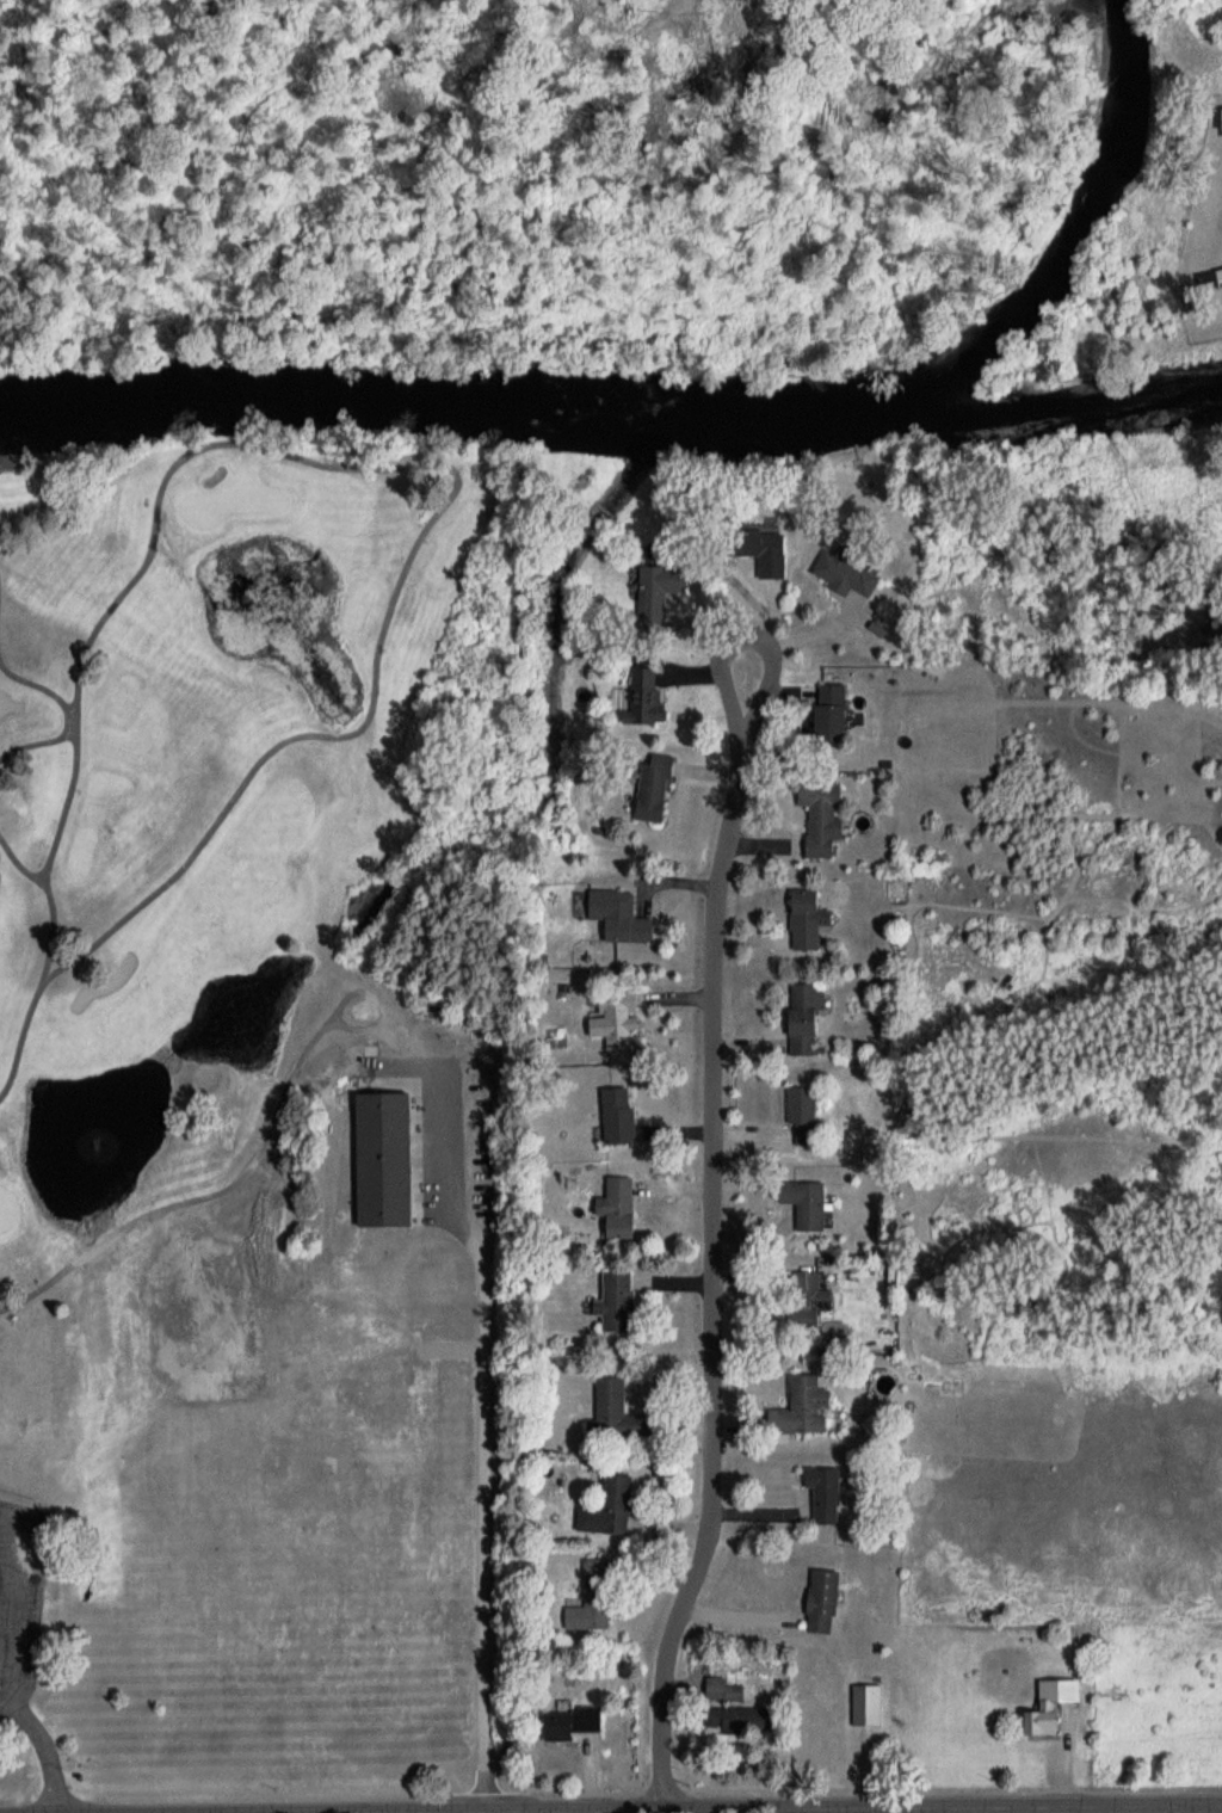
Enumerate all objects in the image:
river: (610, 396)
building: (766, 554)
building: (846, 576)
building: (660, 596)
building: (653, 699)
building: (833, 715)
building: (655, 790)
building: (825, 818)
building: (622, 918)
building: (809, 920)
building: (807, 1018)
building: (619, 1020)
park: (254, 1108)
building: (807, 1115)
building: (621, 1116)
building: (807, 1204)
building: (621, 1208)
road: (721, 1220)
building: (810, 1302)
building: (618, 1303)
building: (804, 1410)
building: (619, 1412)
building: (826, 1496)
building: (612, 1509)
building: (594, 1599)
building: (825, 1602)
building: (724, 1691)
building: (868, 1706)
building: (1053, 1707)
building: (740, 1720)
building: (576, 1725)
road: (763, 1806)
road: (627, 1809)
road: (388, 1812)

